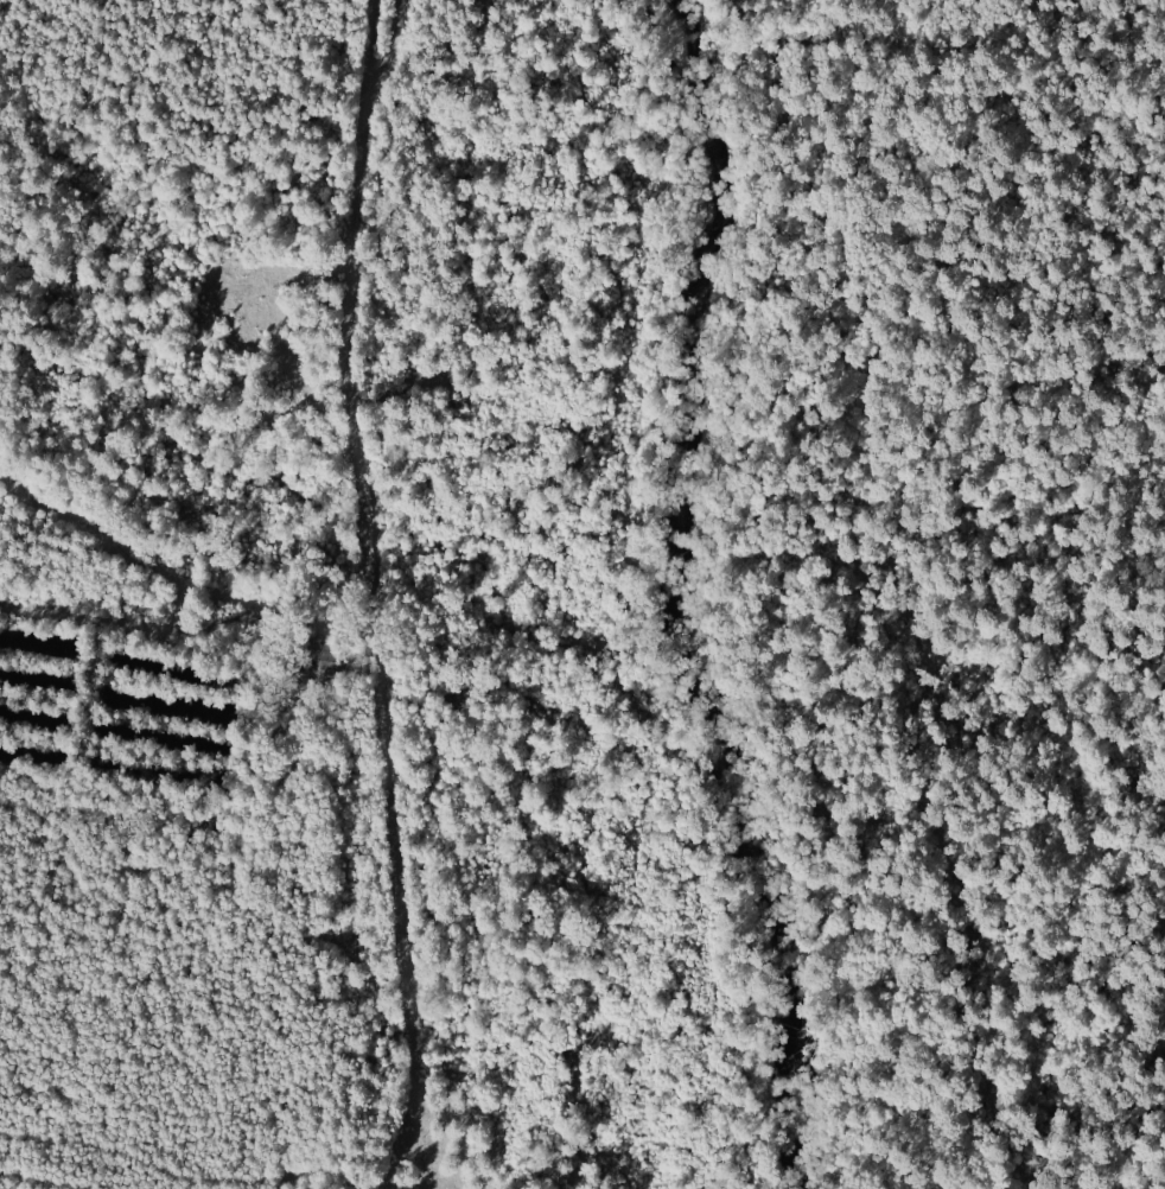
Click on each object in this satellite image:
road: (1137, 18)
road: (755, 585)
river: (670, 593)

